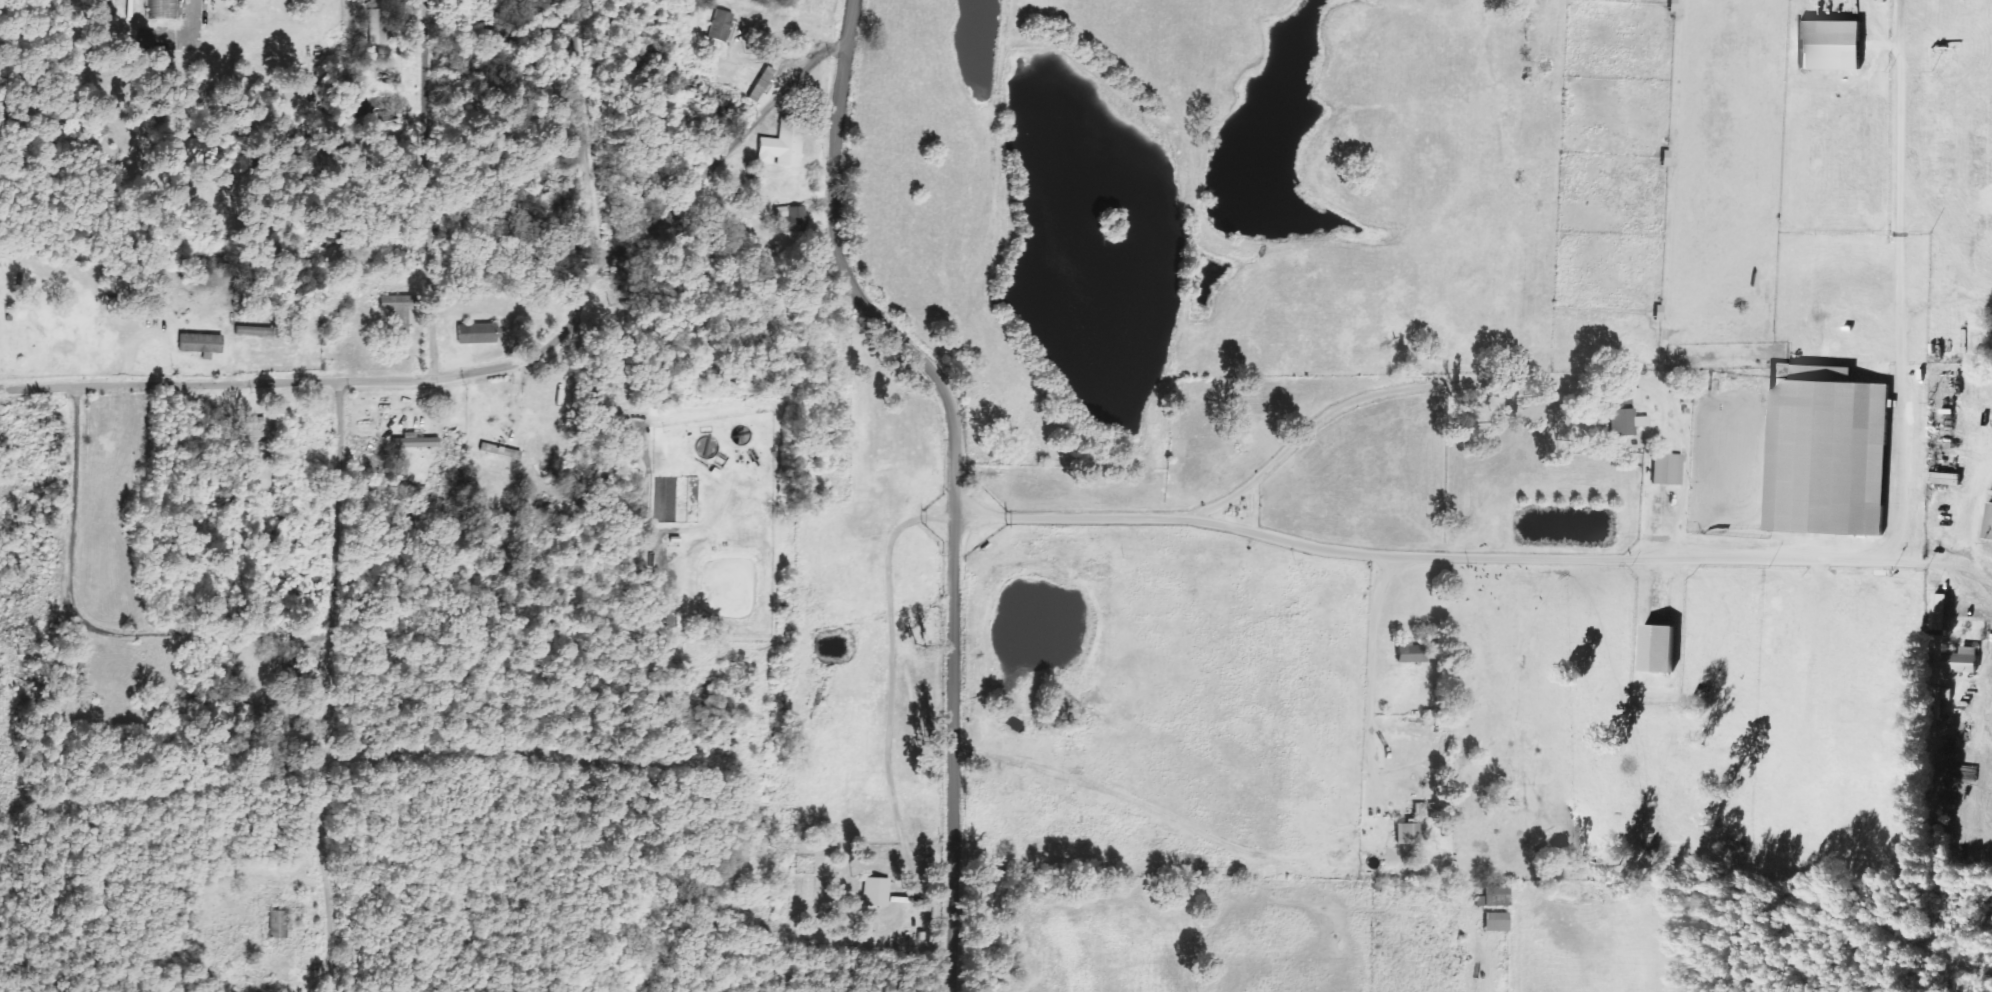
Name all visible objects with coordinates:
building: (163, 9)
building: (719, 25)
building: (1829, 45)
building: (760, 84)
road: (585, 131)
building: (782, 146)
building: (192, 150)
road: (428, 188)
building: (790, 213)
building: (396, 313)
building: (474, 333)
building: (199, 342)
road: (495, 368)
road: (1490, 382)
building: (1625, 412)
building: (414, 441)
building: (499, 451)
building: (1826, 451)
building: (1666, 468)
road: (955, 472)
building: (1943, 477)
road: (1969, 502)
building: (1988, 522)
road: (1450, 557)
road: (1970, 573)
building: (1939, 611)
road: (92, 627)
building: (1657, 647)
building: (1408, 652)
building: (1961, 660)
road: (338, 665)
building: (1408, 831)
building: (875, 891)
building: (1493, 897)
building: (1495, 922)
building: (277, 924)

